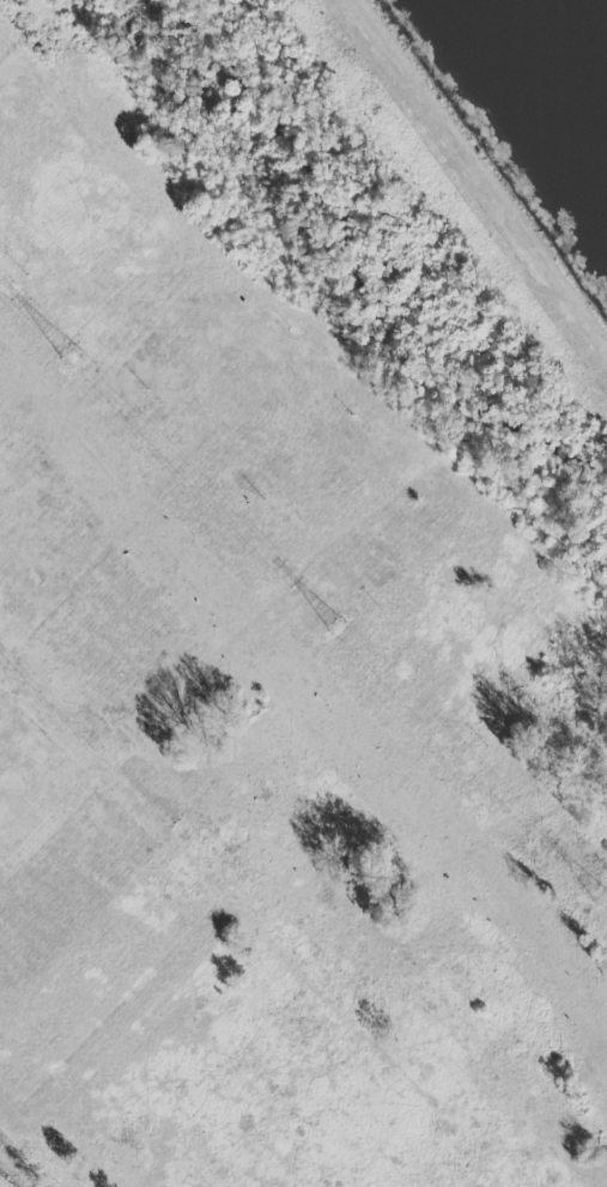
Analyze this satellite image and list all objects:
road: (481, 170)
power tower: (67, 357)
power tower: (333, 628)
power tower: (601, 900)

